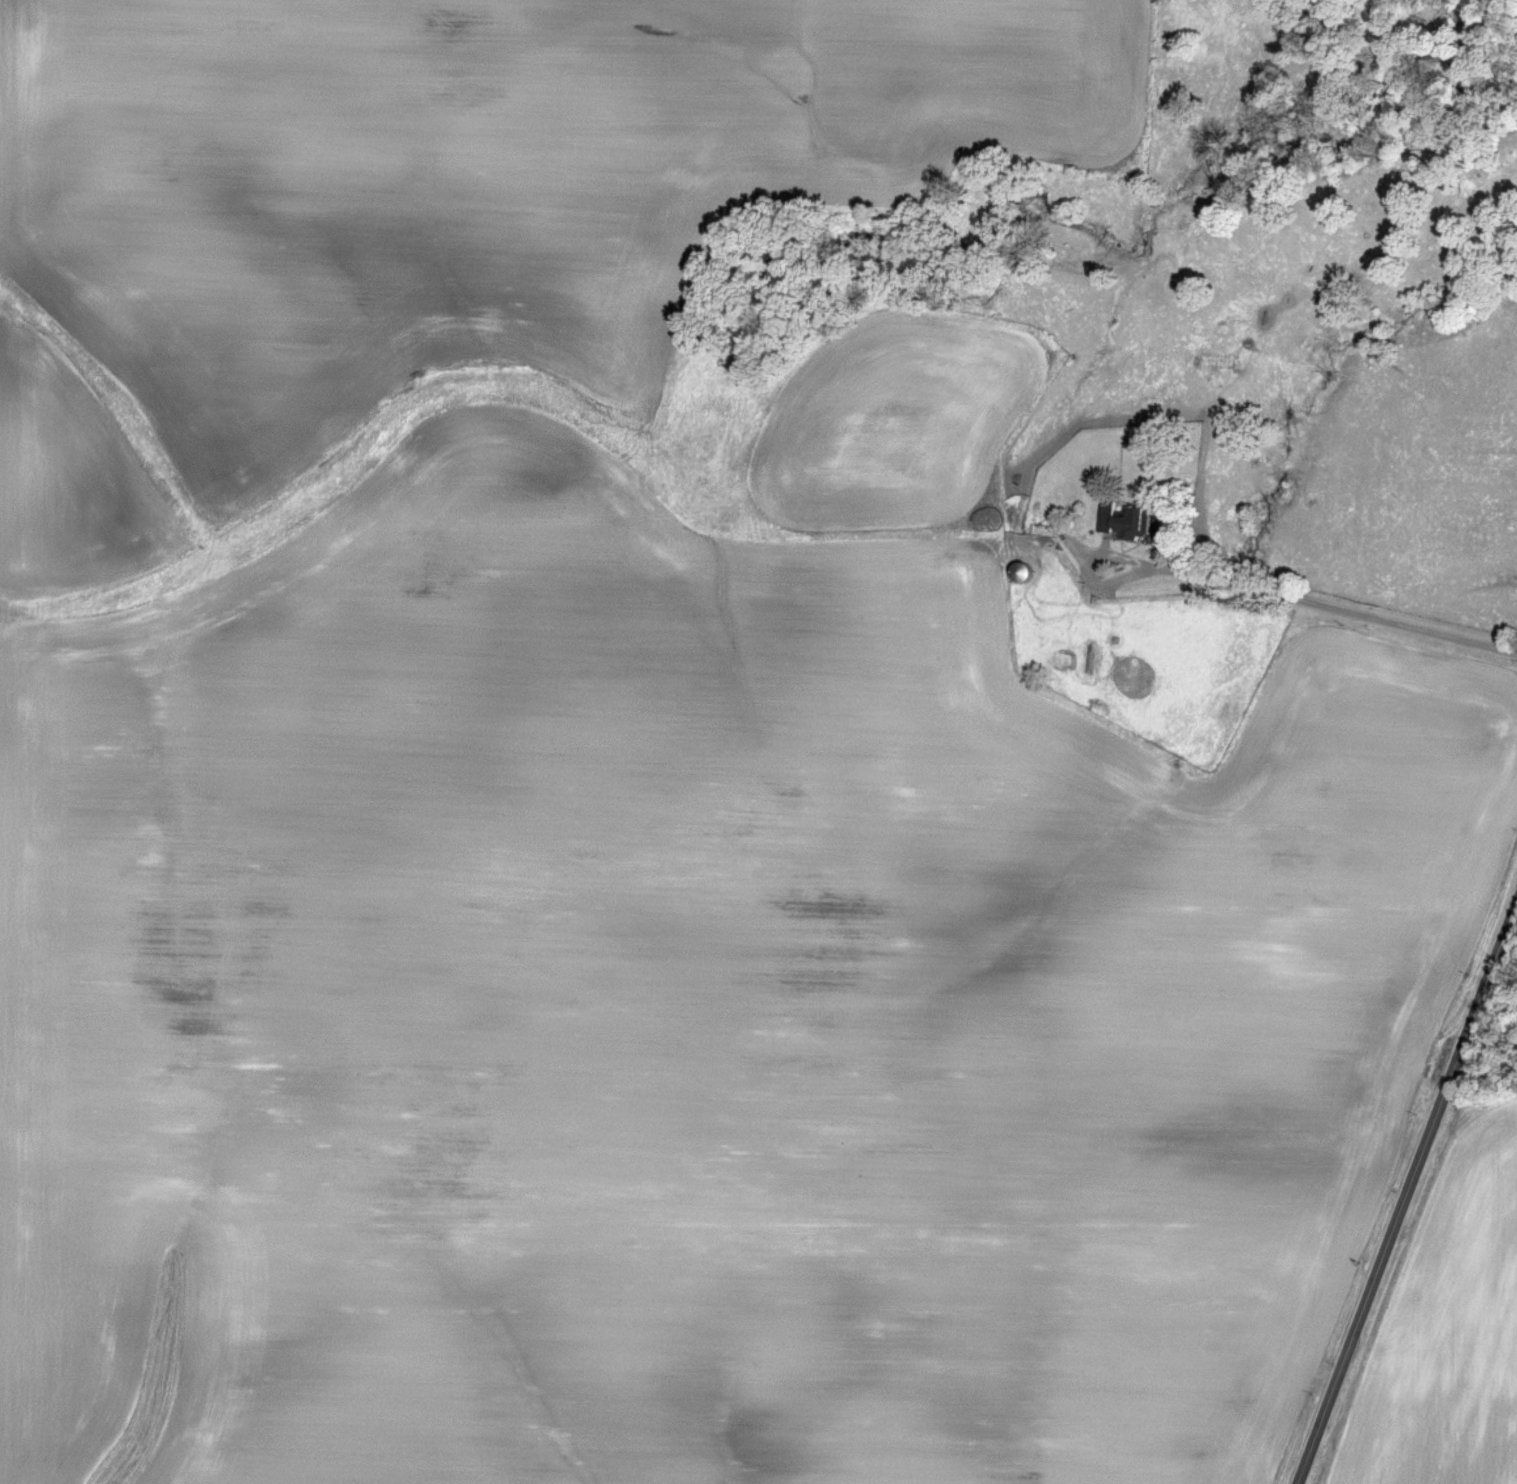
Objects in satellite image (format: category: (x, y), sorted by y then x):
building: (1127, 522)
building: (1046, 532)
road: (1087, 569)
building: (1028, 573)
road: (1333, 609)
road: (1405, 1181)

